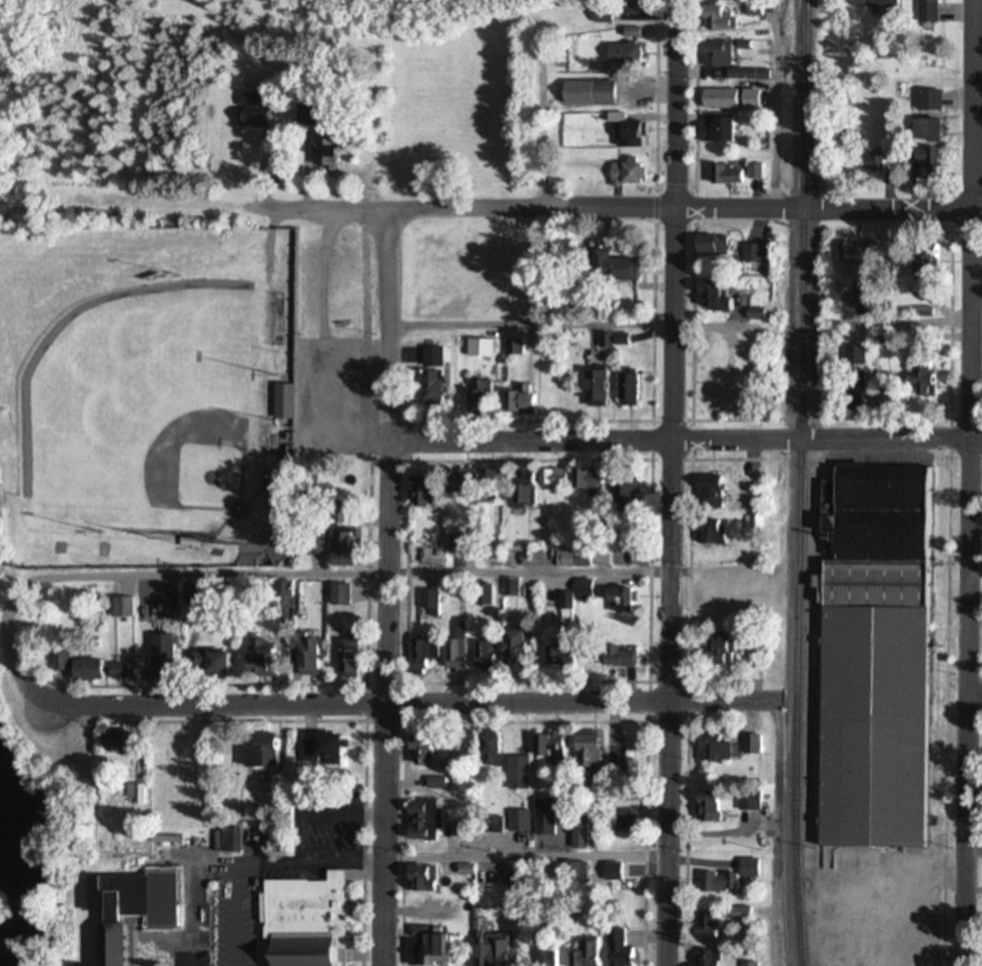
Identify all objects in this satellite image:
building: (729, 0)
building: (869, 3)
building: (633, 8)
building: (924, 11)
building: (597, 18)
building: (714, 20)
building: (618, 53)
building: (713, 56)
road: (976, 79)
building: (596, 94)
building: (715, 99)
building: (925, 101)
road: (773, 104)
building: (250, 113)
building: (922, 130)
building: (710, 131)
building: (626, 135)
building: (306, 153)
building: (871, 163)
building: (924, 166)
road: (308, 174)
building: (621, 175)
building: (721, 176)
road: (620, 209)
building: (708, 245)
building: (749, 254)
building: (847, 254)
building: (920, 265)
building: (606, 268)
building: (708, 298)
building: (922, 314)
road: (905, 324)
road: (571, 327)
building: (611, 341)
building: (510, 348)
building: (850, 356)
building: (428, 358)
building: (916, 379)
park: (180, 380)
building: (590, 389)
building: (706, 389)
building: (428, 390)
building: (624, 391)
building: (849, 392)
building: (475, 401)
building: (515, 402)
building: (279, 403)
road: (684, 442)
building: (569, 481)
road: (967, 482)
road: (670, 483)
railway: (797, 483)
building: (469, 484)
building: (622, 487)
building: (518, 490)
building: (415, 491)
building: (705, 492)
building: (706, 532)
building: (339, 550)
building: (613, 558)
building: (570, 559)
road: (974, 567)
road: (333, 574)
road: (385, 588)
building: (509, 589)
building: (574, 594)
building: (482, 596)
building: (618, 601)
building: (429, 603)
building: (512, 650)
building: (717, 650)
building: (455, 651)
building: (301, 654)
building: (419, 654)
building: (868, 655)
building: (160, 656)
building: (343, 656)
building: (556, 657)
building: (610, 657)
building: (482, 658)
building: (257, 659)
building: (211, 664)
building: (75, 668)
building: (120, 672)
road: (329, 687)
road: (974, 699)
road: (402, 705)
road: (356, 723)
road: (524, 724)
street lamp: (89, 725)
building: (114, 743)
building: (545, 748)
building: (709, 748)
building: (316, 749)
building: (488, 749)
building: (417, 750)
building: (181, 751)
building: (622, 751)
building: (259, 753)
building: (585, 753)
building: (433, 784)
building: (747, 802)
building: (704, 808)
building: (542, 818)
building: (420, 821)
building: (517, 822)
building: (619, 823)
building: (487, 826)
building: (161, 835)
building: (577, 835)
road: (775, 835)
building: (230, 842)
road: (973, 853)
road: (523, 858)
river: (21, 865)
building: (464, 871)
building: (610, 873)
building: (573, 874)
building: (418, 880)
building: (726, 880)
building: (514, 881)
building: (737, 915)
building: (299, 922)
building: (704, 927)
building: (107, 945)
building: (615, 948)
building: (429, 949)
building: (489, 951)
building: (582, 955)
building: (185, 956)
building: (541, 956)
building: (703, 959)
building: (981, 963)
building: (746, 965)

